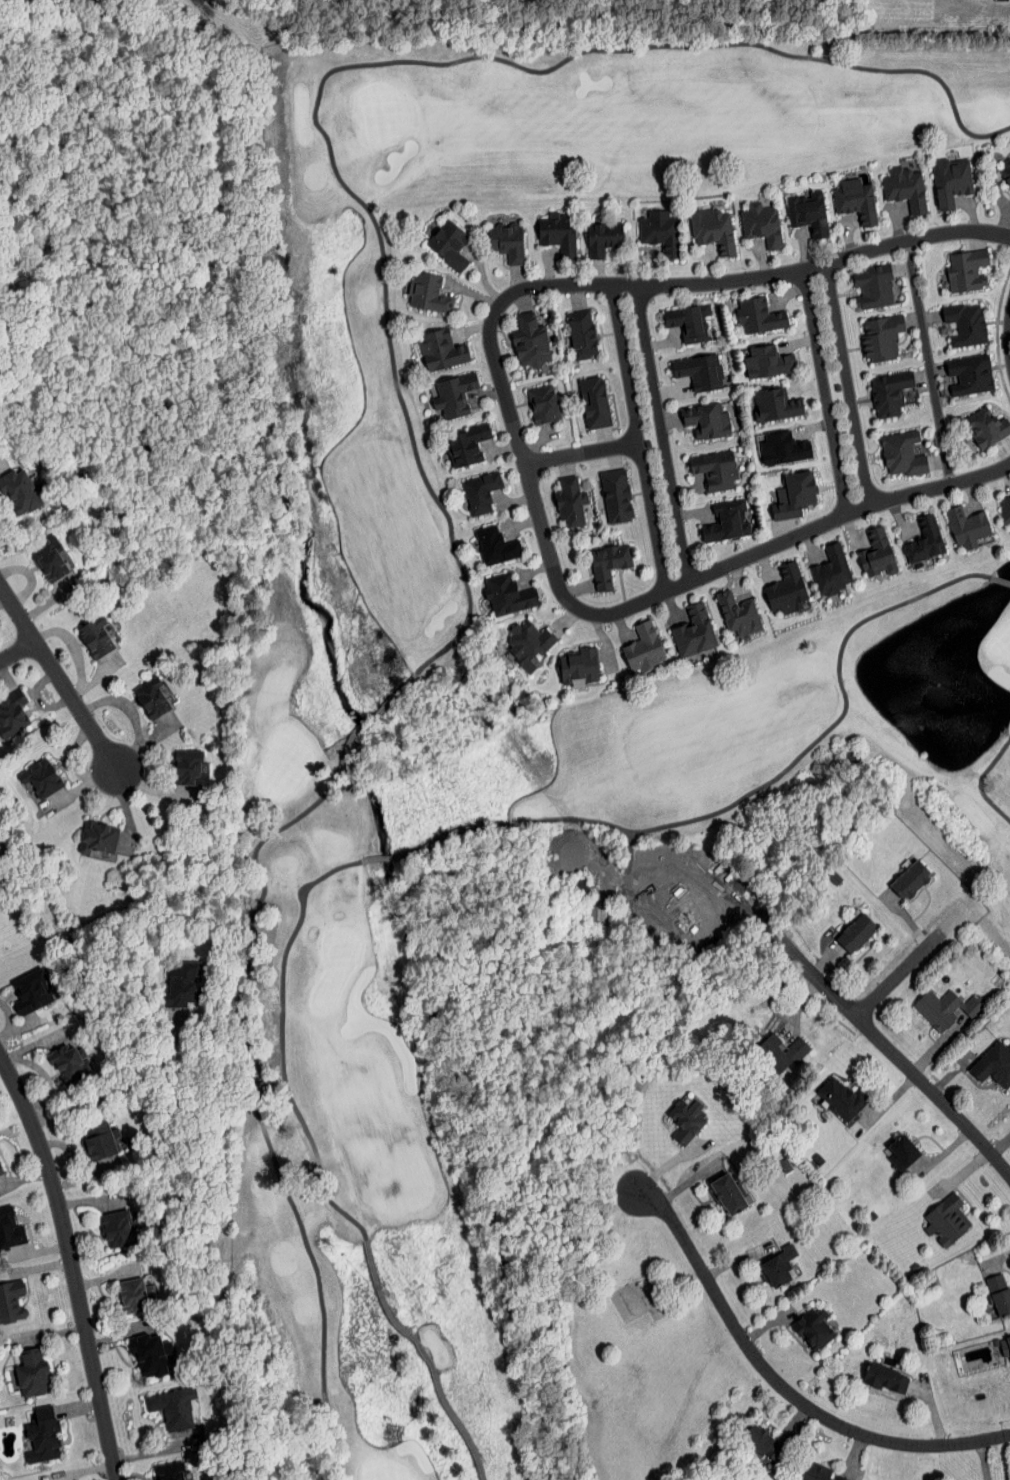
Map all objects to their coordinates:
building: (1001, 170)
building: (936, 175)
building: (891, 182)
building: (842, 194)
building: (790, 202)
building: (747, 218)
building: (699, 223)
building: (643, 224)
building: (805, 226)
building: (543, 228)
building: (588, 231)
building: (491, 235)
building: (433, 238)
building: (953, 263)
road: (652, 266)
road: (549, 269)
road: (597, 272)
road: (482, 275)
building: (858, 281)
building: (414, 287)
building: (744, 310)
building: (674, 316)
building: (951, 318)
road: (471, 328)
building: (567, 328)
building: (867, 331)
road: (1009, 332)
building: (515, 335)
road: (798, 341)
building: (427, 344)
building: (753, 355)
road: (927, 361)
building: (685, 365)
building: (955, 368)
road: (847, 383)
building: (875, 386)
building: (439, 388)
road: (823, 392)
building: (578, 396)
building: (529, 398)
building: (761, 398)
building: (692, 415)
building: (972, 421)
road: (513, 429)
road: (662, 434)
road: (637, 437)
building: (451, 439)
road: (536, 444)
building: (888, 448)
road: (503, 449)
road: (580, 452)
building: (701, 463)
road: (1007, 474)
building: (13, 484)
building: (467, 486)
building: (779, 489)
building: (601, 490)
road: (971, 492)
building: (555, 496)
road: (513, 501)
building: (1000, 504)
road: (898, 515)
building: (713, 516)
building: (953, 520)
road: (522, 525)
road: (850, 531)
building: (910, 534)
building: (481, 540)
road: (810, 546)
building: (863, 548)
building: (37, 554)
building: (593, 558)
building: (818, 565)
road: (765, 566)
road: (535, 570)
building: (771, 583)
building: (493, 589)
road: (17, 604)
building: (724, 608)
building: (679, 626)
building: (80, 631)
building: (513, 638)
road: (602, 642)
building: (629, 642)
road: (18, 643)
building: (563, 661)
building: (136, 693)
park: (501, 693)
road: (81, 702)
building: (5, 705)
building: (170, 761)
building: (25, 773)
building: (82, 833)
building: (894, 874)
building: (841, 927)
road: (919, 956)
building: (159, 980)
building: (14, 988)
building: (931, 1003)
road: (799, 1007)
building: (766, 1047)
building: (51, 1054)
road: (901, 1059)
building: (982, 1060)
road: (132, 1078)
building: (826, 1093)
building: (671, 1115)
building: (80, 1137)
building: (886, 1145)
building: (0, 1172)
building: (728, 1194)
building: (947, 1220)
building: (119, 1227)
building: (10, 1228)
road: (73, 1261)
building: (779, 1266)
building: (136, 1293)
building: (999, 1293)
building: (11, 1300)
building: (813, 1329)
building: (1005, 1346)
building: (150, 1355)
building: (32, 1374)
building: (886, 1378)
road: (781, 1385)
building: (173, 1408)
building: (42, 1435)
building: (763, 1442)
building: (173, 1471)
building: (819, 1473)

